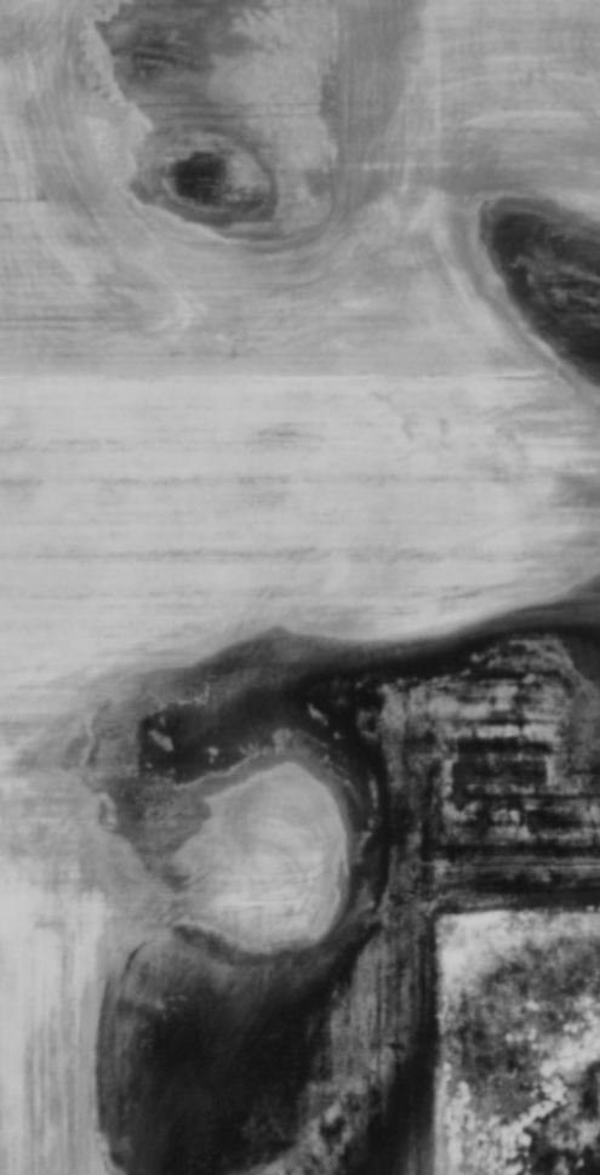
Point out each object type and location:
crop: (279, 701)

